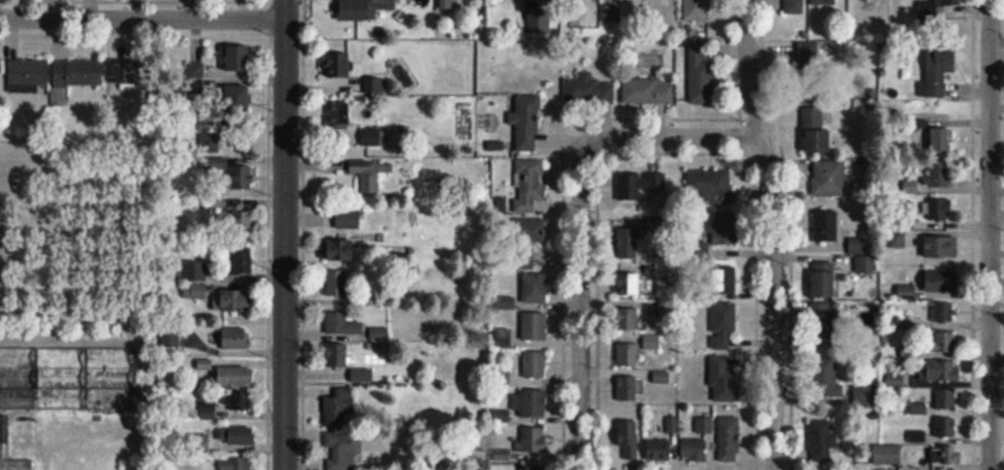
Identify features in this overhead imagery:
building: (822, 2)
building: (795, 6)
building: (362, 9)
building: (696, 9)
building: (933, 10)
road: (142, 18)
building: (238, 59)
building: (338, 64)
building: (938, 71)
building: (129, 73)
building: (700, 73)
building: (78, 74)
building: (27, 75)
building: (588, 90)
building: (648, 91)
building: (234, 96)
building: (812, 102)
building: (339, 114)
building: (526, 122)
building: (374, 136)
building: (941, 140)
building: (218, 165)
building: (370, 173)
building: (939, 173)
building: (242, 177)
building: (829, 178)
building: (529, 184)
building: (641, 184)
building: (709, 186)
building: (940, 210)
building: (348, 218)
road: (581, 220)
building: (243, 222)
building: (826, 225)
building: (723, 229)
building: (529, 230)
road: (772, 233)
road: (284, 235)
road: (989, 235)
building: (628, 243)
building: (940, 247)
building: (339, 250)
building: (243, 260)
building: (523, 260)
building: (866, 265)
building: (824, 279)
building: (629, 280)
building: (725, 280)
building: (936, 281)
building: (337, 283)
building: (534, 288)
building: (195, 291)
building: (237, 301)
building: (944, 312)
building: (628, 320)
building: (342, 324)
building: (823, 324)
building: (723, 325)
building: (534, 327)
building: (236, 339)
building: (943, 342)
building: (630, 353)
building: (337, 356)
building: (535, 365)
building: (942, 371)
building: (824, 375)
building: (661, 377)
building: (235, 378)
building: (85, 379)
building: (724, 382)
building: (627, 389)
building: (946, 400)
building: (237, 402)
building: (532, 403)
building: (336, 408)
building: (919, 408)
building: (704, 425)
building: (946, 428)
building: (241, 436)
building: (18, 440)
building: (533, 440)
building: (729, 440)
building: (627, 441)
building: (822, 441)
building: (661, 450)
building: (694, 450)
building: (342, 452)
building: (887, 455)
building: (946, 455)
building: (236, 464)
building: (535, 467)

